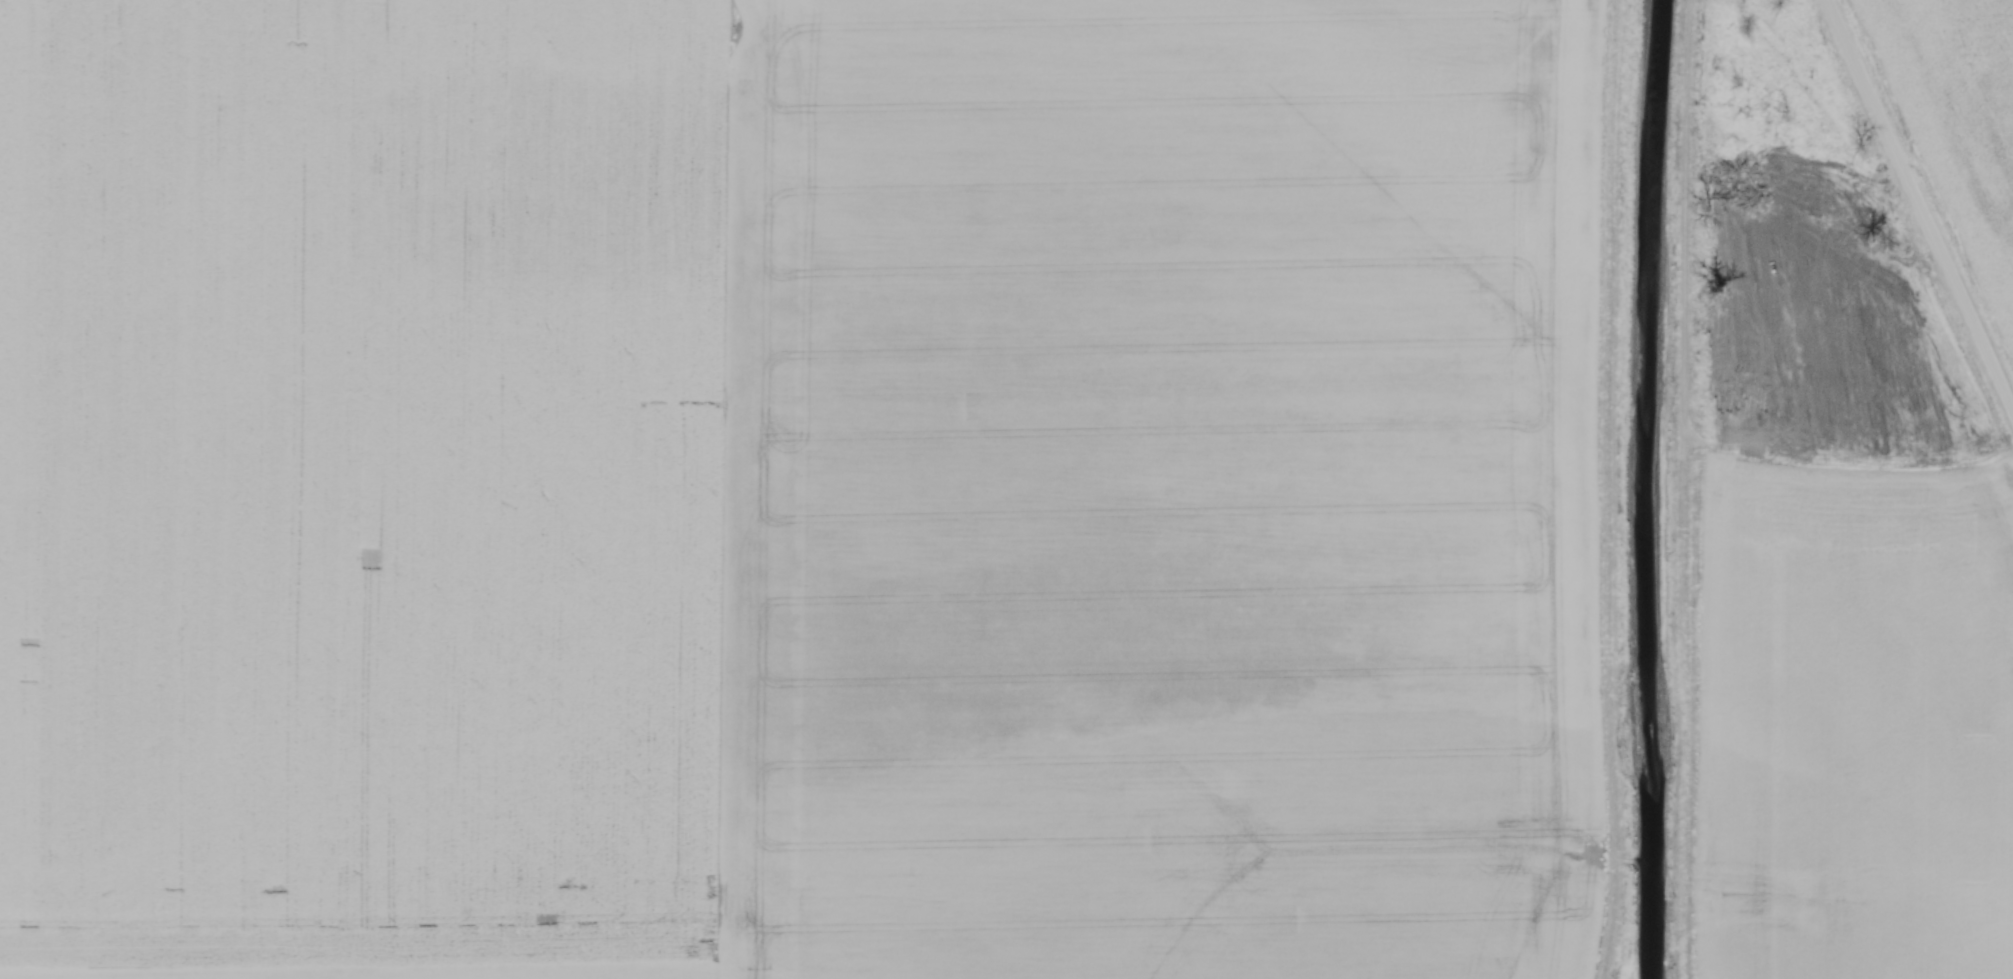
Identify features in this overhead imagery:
road: (1919, 207)

